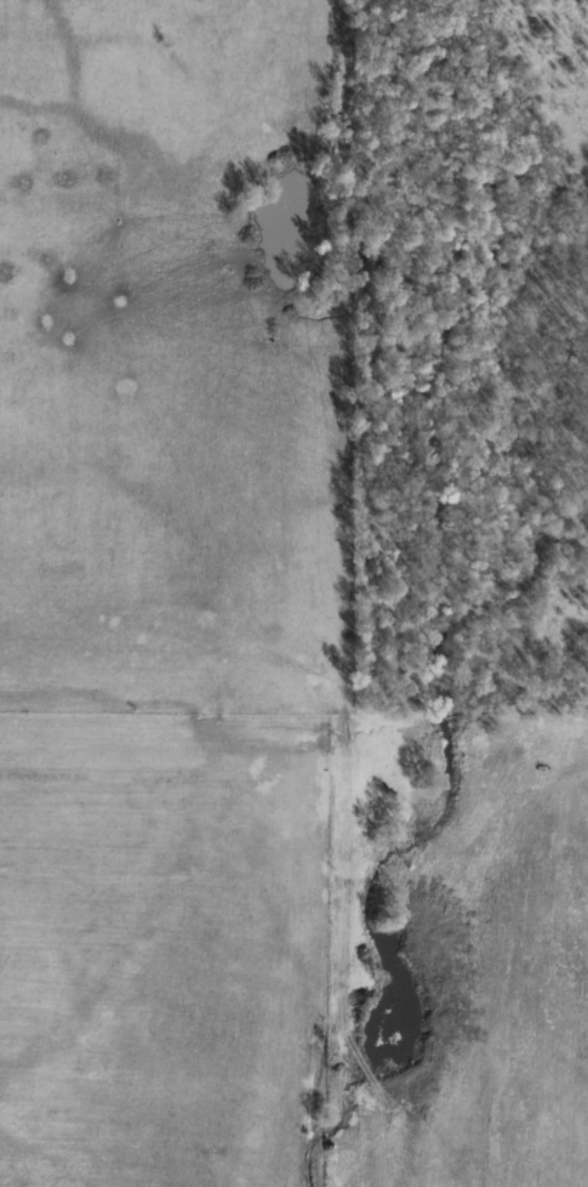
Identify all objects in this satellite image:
airport runway: (381, 1146)

